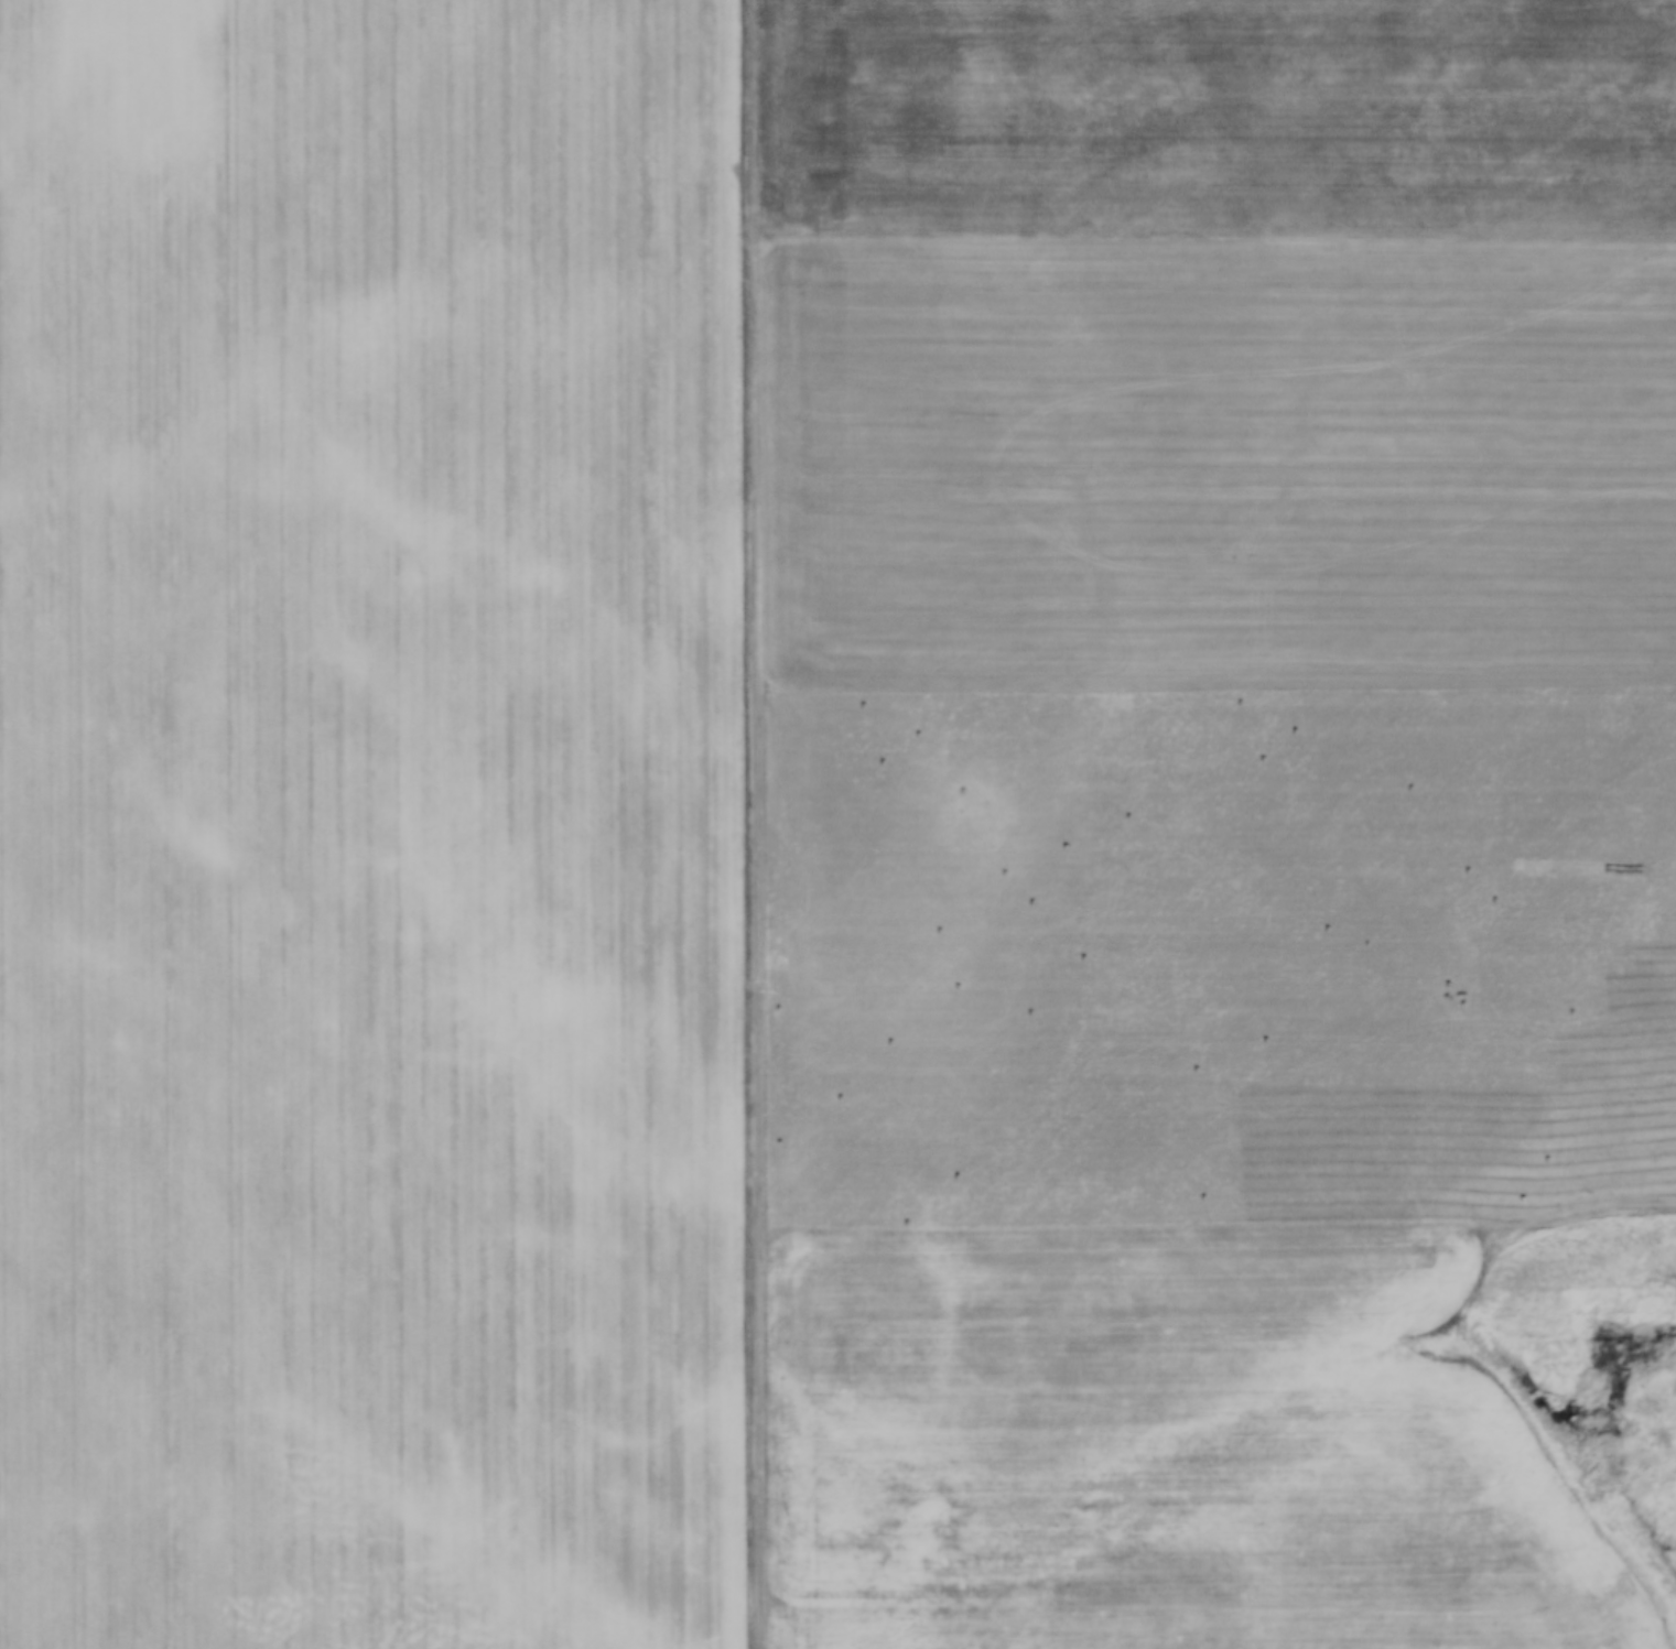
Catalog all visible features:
road: (764, 824)

